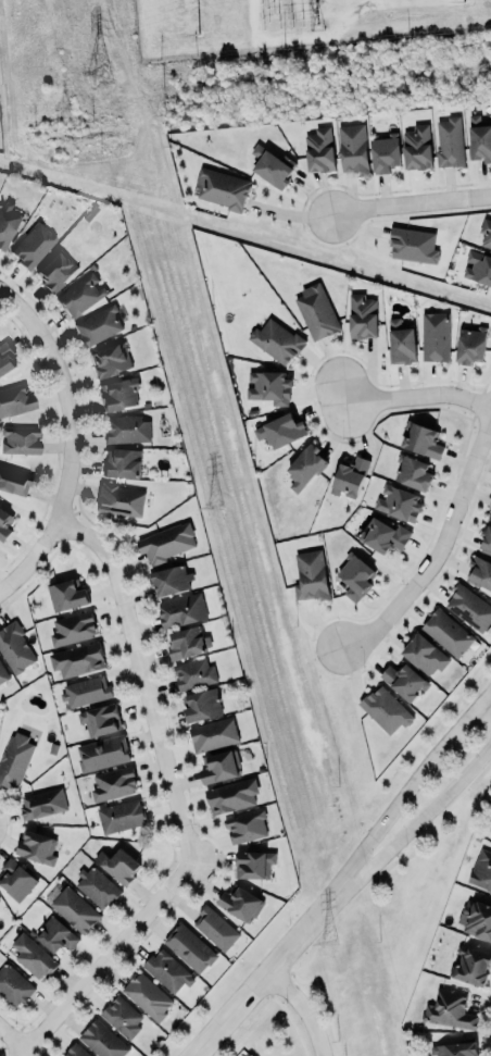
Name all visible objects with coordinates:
power substation: (287, 22)
power tower: (98, 75)
building: (479, 136)
building: (449, 141)
building: (416, 145)
building: (351, 146)
building: (319, 148)
building: (385, 152)
building: (272, 164)
building: (221, 188)
road: (412, 203)
building: (7, 221)
building: (486, 233)
building: (32, 244)
building: (413, 244)
building: (477, 268)
building: (54, 270)
building: (80, 294)
building: (316, 311)
building: (361, 315)
building: (98, 324)
building: (435, 334)
building: (277, 339)
building: (400, 341)
building: (469, 345)
building: (5, 358)
building: (110, 359)
building: (269, 385)
building: (117, 393)
road: (70, 395)
road: (419, 397)
building: (14, 398)
building: (125, 428)
building: (279, 428)
building: (20, 438)
building: (421, 438)
building: (122, 460)
building: (305, 465)
building: (412, 470)
building: (347, 473)
building: (15, 479)
building: (119, 499)
building: (399, 501)
power tower: (211, 502)
building: (489, 512)
building: (4, 522)
building: (383, 533)
building: (487, 538)
building: (165, 543)
road: (440, 546)
road: (30, 557)
building: (479, 570)
building: (311, 574)
building: (355, 574)
building: (171, 579)
building: (66, 593)
building: (469, 606)
building: (181, 609)
building: (73, 628)
building: (446, 631)
building: (187, 643)
building: (14, 646)
building: (424, 655)
building: (77, 658)
building: (2, 673)
building: (193, 673)
building: (404, 678)
building: (85, 689)
building: (201, 703)
building: (385, 709)
building: (100, 718)
building: (212, 734)
building: (102, 751)
building: (14, 757)
building: (219, 765)
building: (113, 782)
road: (407, 790)
building: (231, 795)
building: (41, 803)
road: (175, 803)
building: (119, 815)
road: (415, 821)
building: (246, 825)
building: (490, 830)
building: (36, 845)
building: (254, 862)
building: (117, 865)
building: (481, 869)
building: (15, 878)
building: (97, 886)
building: (241, 903)
building: (75, 909)
building: (477, 919)
building: (215, 925)
building: (53, 930)
power tower: (332, 944)
building: (188, 945)
building: (33, 954)
building: (470, 965)
building: (167, 969)
road: (263, 974)
building: (13, 984)
building: (147, 995)
road: (303, 1007)
building: (449, 1009)
building: (122, 1016)
road: (13, 1036)
building: (102, 1039)
building: (454, 1048)
building: (76, 1052)

